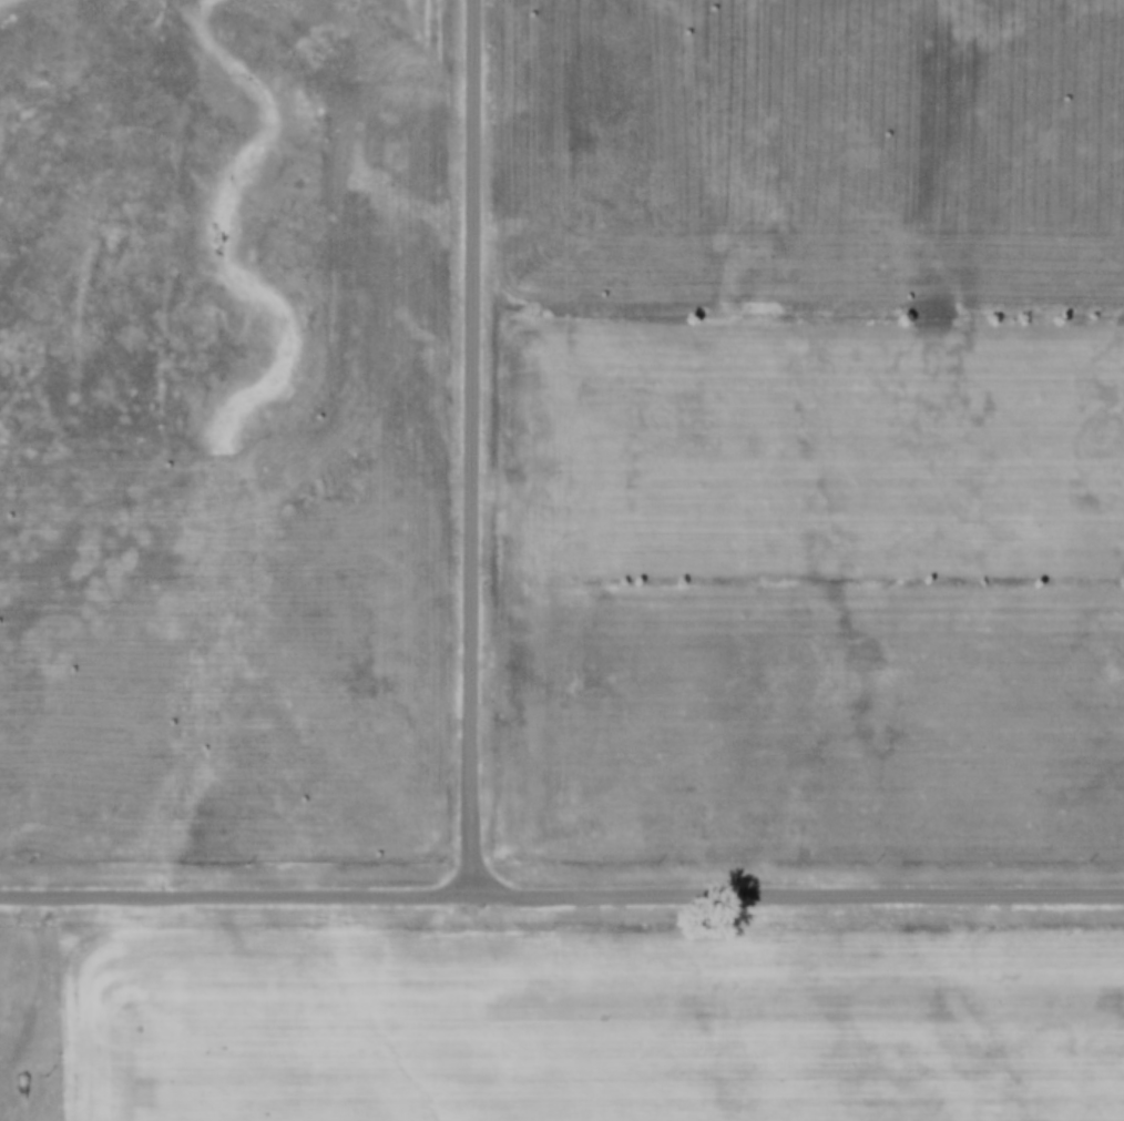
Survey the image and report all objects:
road: (478, 445)
road: (800, 891)
road: (238, 895)
building: (21, 1117)
silo: (21, 1117)

